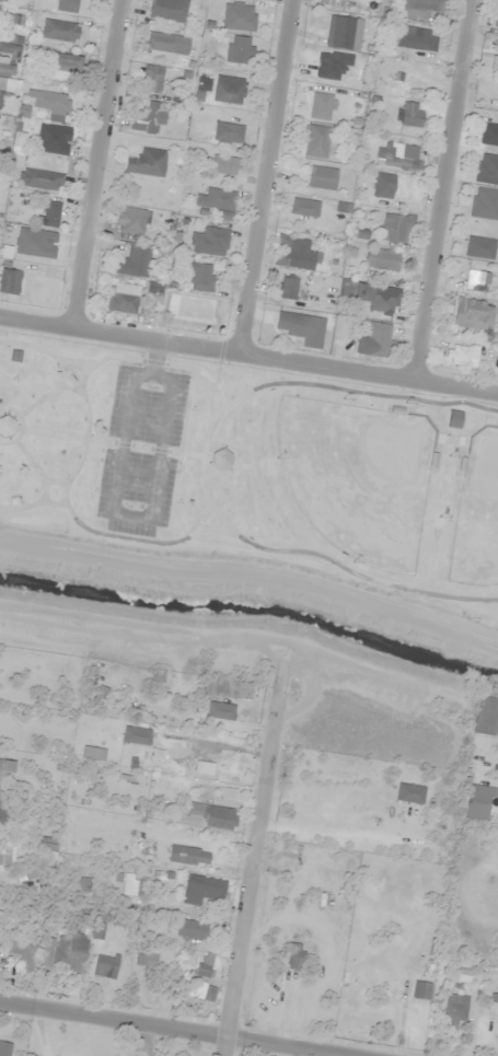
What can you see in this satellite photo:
building: (1, 0)
building: (336, 2)
building: (67, 5)
building: (420, 9)
building: (169, 10)
building: (0, 14)
building: (240, 18)
building: (497, 21)
building: (59, 31)
building: (344, 33)
building: (416, 38)
building: (160, 42)
building: (9, 49)
building: (239, 50)
building: (496, 60)
building: (65, 63)
building: (410, 73)
building: (152, 79)
building: (7, 85)
building: (228, 90)
building: (50, 102)
building: (322, 106)
building: (409, 114)
building: (150, 117)
building: (228, 132)
building: (489, 135)
building: (53, 139)
building: (316, 141)
building: (398, 155)
building: (147, 163)
road: (102, 164)
building: (223, 164)
building: (487, 169)
road: (269, 177)
building: (322, 177)
building: (40, 179)
building: (401, 188)
road: (448, 190)
building: (217, 202)
building: (485, 204)
building: (304, 207)
building: (49, 213)
building: (131, 220)
building: (396, 229)
building: (209, 242)
building: (479, 247)
building: (299, 255)
building: (381, 260)
building: (134, 262)
building: (200, 277)
building: (10, 280)
building: (476, 282)
building: (287, 288)
building: (377, 298)
building: (125, 302)
building: (302, 328)
building: (378, 339)
road: (248, 355)
building: (461, 356)
road: (162, 363)
road: (375, 393)
building: (453, 418)
road: (90, 425)
building: (7, 426)
parking lot: (143, 449)
building: (221, 460)
park: (254, 467)
park: (358, 478)
park: (477, 513)
road: (117, 517)
road: (134, 538)
road: (282, 552)
building: (160, 677)
building: (228, 691)
building: (100, 695)
building: (220, 711)
building: (482, 730)
building: (136, 735)
road: (486, 750)
building: (93, 753)
building: (5, 765)
building: (409, 793)
building: (478, 803)
building: (2, 811)
building: (210, 816)
building: (43, 844)
road: (253, 854)
building: (4, 855)
building: (188, 856)
building: (131, 884)
building: (201, 890)
building: (0, 912)
building: (99, 926)
building: (189, 929)
building: (23, 951)
building: (65, 952)
building: (294, 955)
building: (146, 958)
building: (200, 965)
building: (105, 966)
building: (421, 990)
building: (201, 991)
building: (455, 1008)
road: (184, 1025)
building: (4, 1048)

